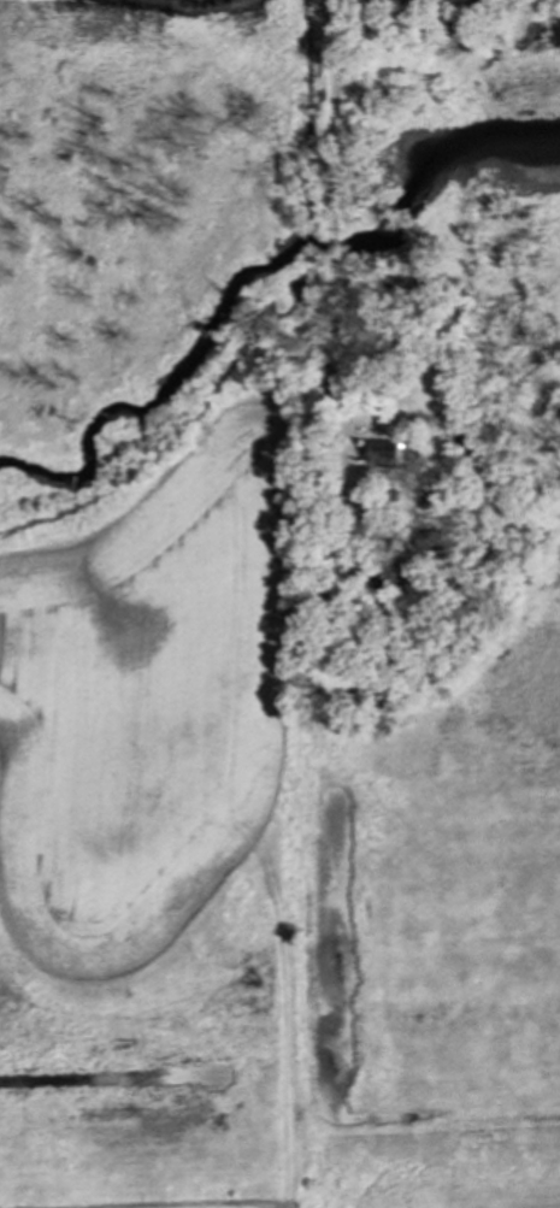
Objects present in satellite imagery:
road: (332, 211)
crop: (146, 697)
airport: (444, 1165)
crop: (243, 1206)

